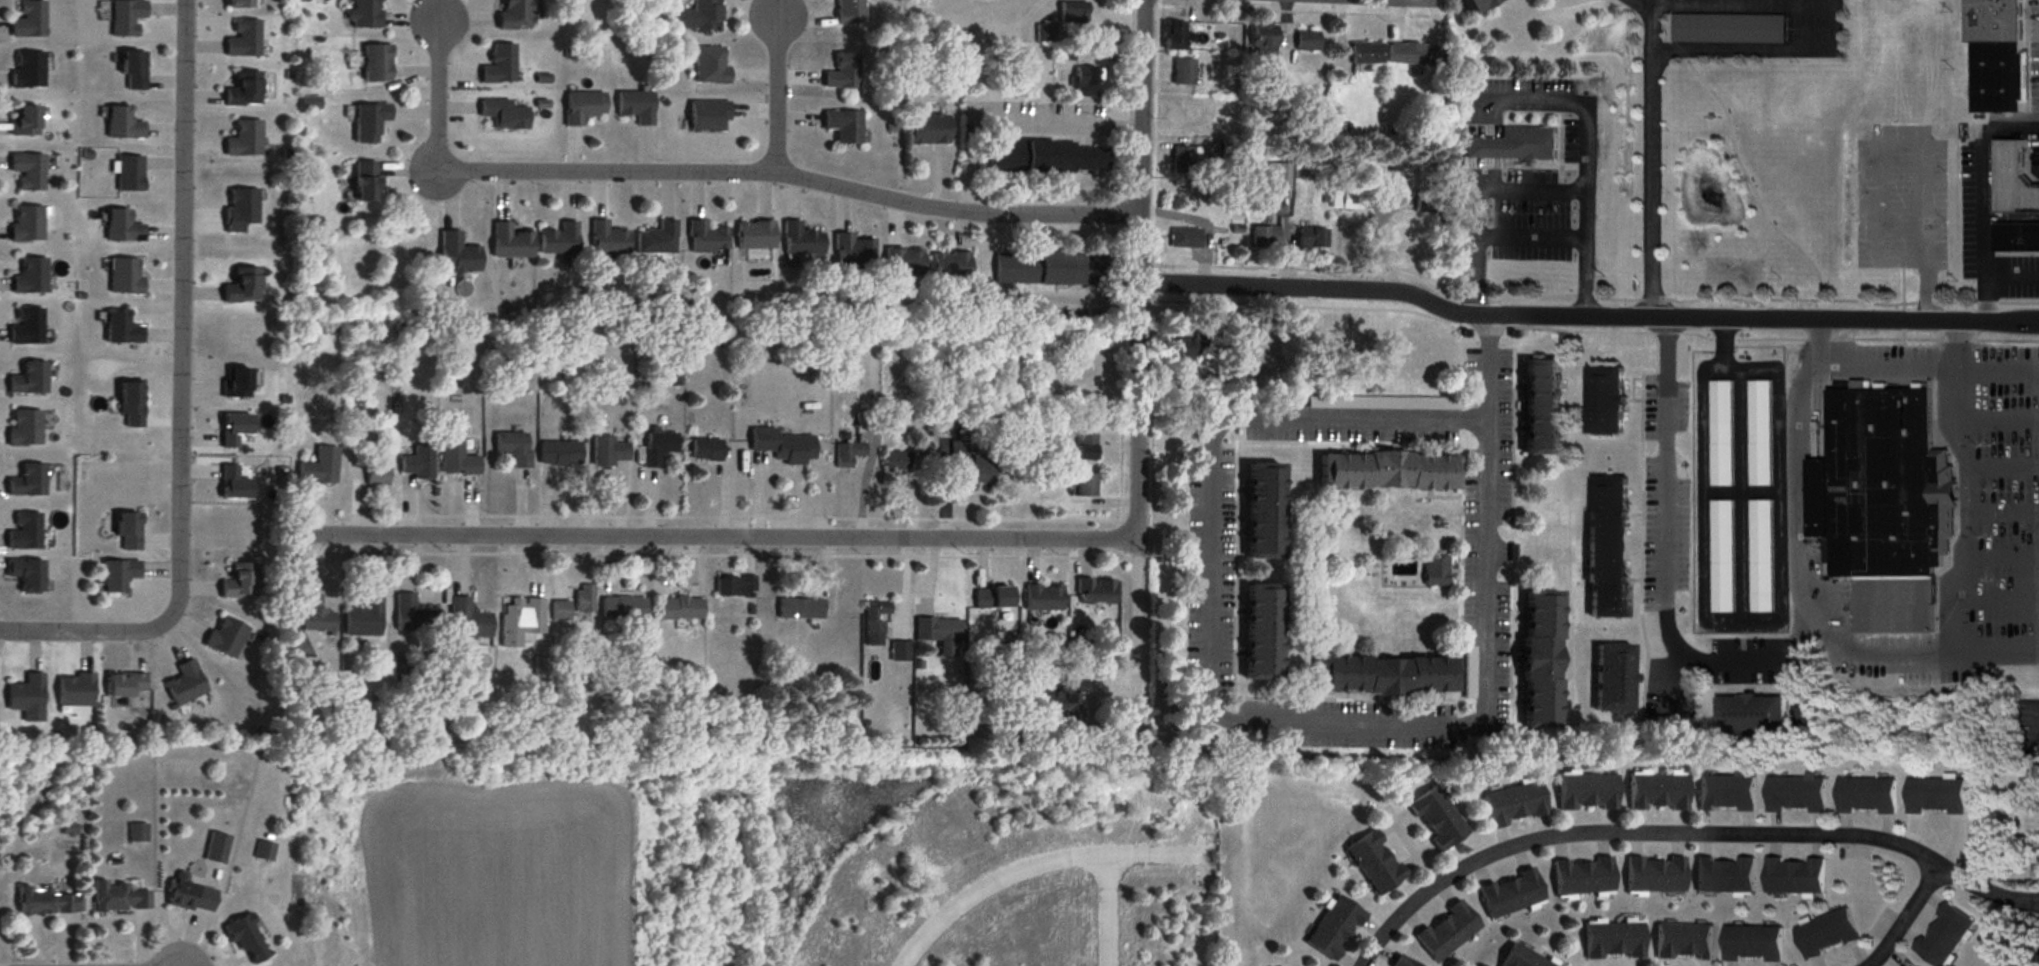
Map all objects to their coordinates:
building: (235, 3)
road: (1649, 3)
building: (1471, 4)
road: (1638, 4)
road: (1746, 5)
building: (848, 11)
building: (363, 13)
building: (513, 13)
building: (124, 16)
building: (695, 16)
building: (28, 19)
building: (1990, 20)
building: (1727, 28)
building: (1043, 31)
building: (1171, 35)
building: (1262, 37)
building: (242, 38)
building: (1305, 41)
road: (1764, 49)
building: (1365, 53)
building: (1410, 55)
building: (374, 62)
building: (497, 64)
building: (708, 64)
building: (131, 68)
building: (27, 69)
building: (1181, 71)
building: (841, 72)
building: (1995, 76)
building: (1082, 81)
building: (242, 89)
road: (774, 94)
road: (436, 96)
building: (634, 105)
building: (581, 106)
building: (502, 113)
building: (706, 116)
building: (23, 120)
building: (367, 122)
building: (121, 123)
building: (842, 125)
building: (926, 128)
road: (1879, 138)
building: (243, 139)
building: (1512, 145)
building: (1043, 156)
building: (1182, 160)
road: (1647, 161)
building: (31, 170)
road: (789, 172)
building: (361, 181)
building: (2011, 181)
road: (1983, 193)
building: (1219, 195)
building: (1350, 200)
building: (29, 223)
building: (120, 227)
road: (1532, 232)
building: (753, 235)
building: (1264, 236)
building: (2016, 236)
building: (705, 238)
building: (1185, 238)
building: (1311, 238)
building: (557, 239)
building: (606, 239)
building: (656, 239)
building: (800, 240)
building: (509, 241)
building: (852, 250)
building: (454, 253)
building: (902, 262)
building: (949, 266)
building: (1049, 268)
building: (123, 276)
building: (33, 277)
building: (241, 285)
road: (1926, 286)
road: (1588, 316)
building: (29, 326)
building: (119, 328)
building: (1179, 349)
road: (1140, 356)
road: (1488, 363)
road: (1719, 363)
road: (1886, 365)
road: (1973, 367)
building: (31, 379)
building: (1075, 382)
building: (235, 383)
road: (185, 397)
building: (1602, 400)
building: (1539, 407)
road: (1997, 415)
building: (863, 421)
building: (27, 427)
road: (1219, 431)
building: (1720, 433)
building: (1758, 433)
building: (781, 446)
building: (1084, 446)
building: (512, 447)
building: (656, 447)
building: (704, 450)
building: (606, 452)
building: (558, 453)
building: (846, 453)
building: (456, 459)
building: (894, 461)
building: (417, 462)
road: (2003, 463)
building: (319, 466)
building: (968, 466)
building: (366, 471)
building: (1386, 471)
building: (31, 481)
building: (1083, 485)
building: (1882, 505)
road: (1969, 508)
road: (2004, 508)
building: (1260, 510)
building: (126, 529)
road: (720, 531)
building: (27, 532)
building: (1605, 546)
road: (2001, 551)
building: (1721, 556)
building: (1759, 556)
road: (1664, 557)
building: (1435, 570)
building: (29, 574)
building: (116, 574)
building: (239, 582)
building: (734, 586)
building: (1094, 591)
road: (1797, 592)
road: (2001, 595)
building: (995, 597)
building: (1041, 598)
building: (584, 599)
building: (621, 608)
building: (678, 608)
building: (797, 608)
building: (559, 610)
building: (315, 615)
building: (410, 615)
building: (362, 619)
building: (466, 620)
building: (518, 620)
building: (874, 621)
building: (1258, 632)
building: (939, 634)
building: (225, 637)
building: (898, 651)
building: (1537, 659)
building: (304, 670)
building: (1383, 675)
building: (1611, 678)
building: (183, 684)
building: (124, 685)
building: (75, 690)
building: (28, 694)
building: (1035, 695)
building: (1068, 695)
building: (1750, 715)
building: (1584, 792)
building: (1655, 792)
building: (1725, 794)
building: (1795, 794)
building: (1865, 795)
building: (1935, 795)
building: (1511, 804)
building: (1434, 818)
road: (1683, 831)
building: (136, 832)
building: (214, 847)
building: (263, 851)
road: (1034, 862)
building: (1373, 862)
building: (1653, 874)
building: (1723, 875)
building: (1793, 875)
building: (1581, 876)
building: (1509, 893)
building: (121, 895)
building: (188, 896)
building: (51, 901)
road: (1108, 909)
road: (1904, 916)
building: (1331, 927)
building: (1445, 931)
building: (1825, 933)
building: (1942, 935)
building: (243, 938)
building: (1611, 940)
building: (1681, 942)
building: (1752, 944)
building: (1520, 958)
building: (1398, 961)

